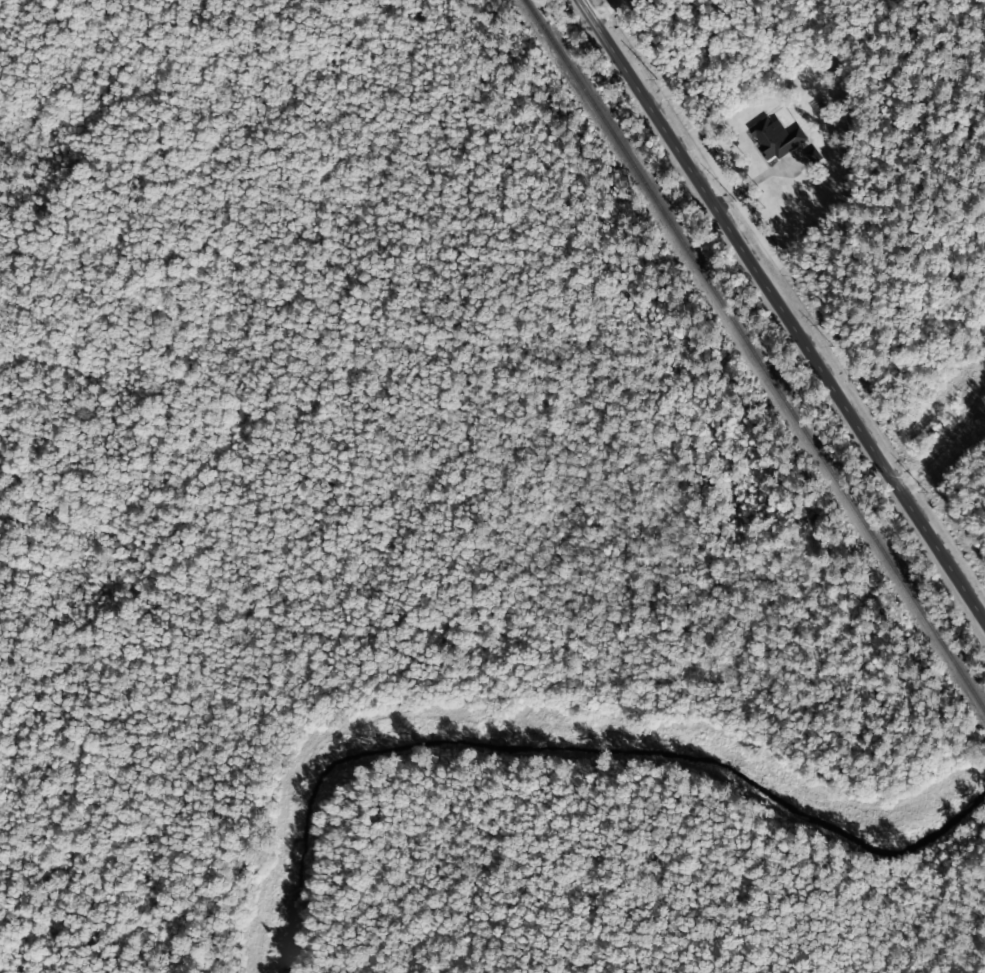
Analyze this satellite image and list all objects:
building: (776, 138)
road: (784, 309)
railway: (754, 355)

